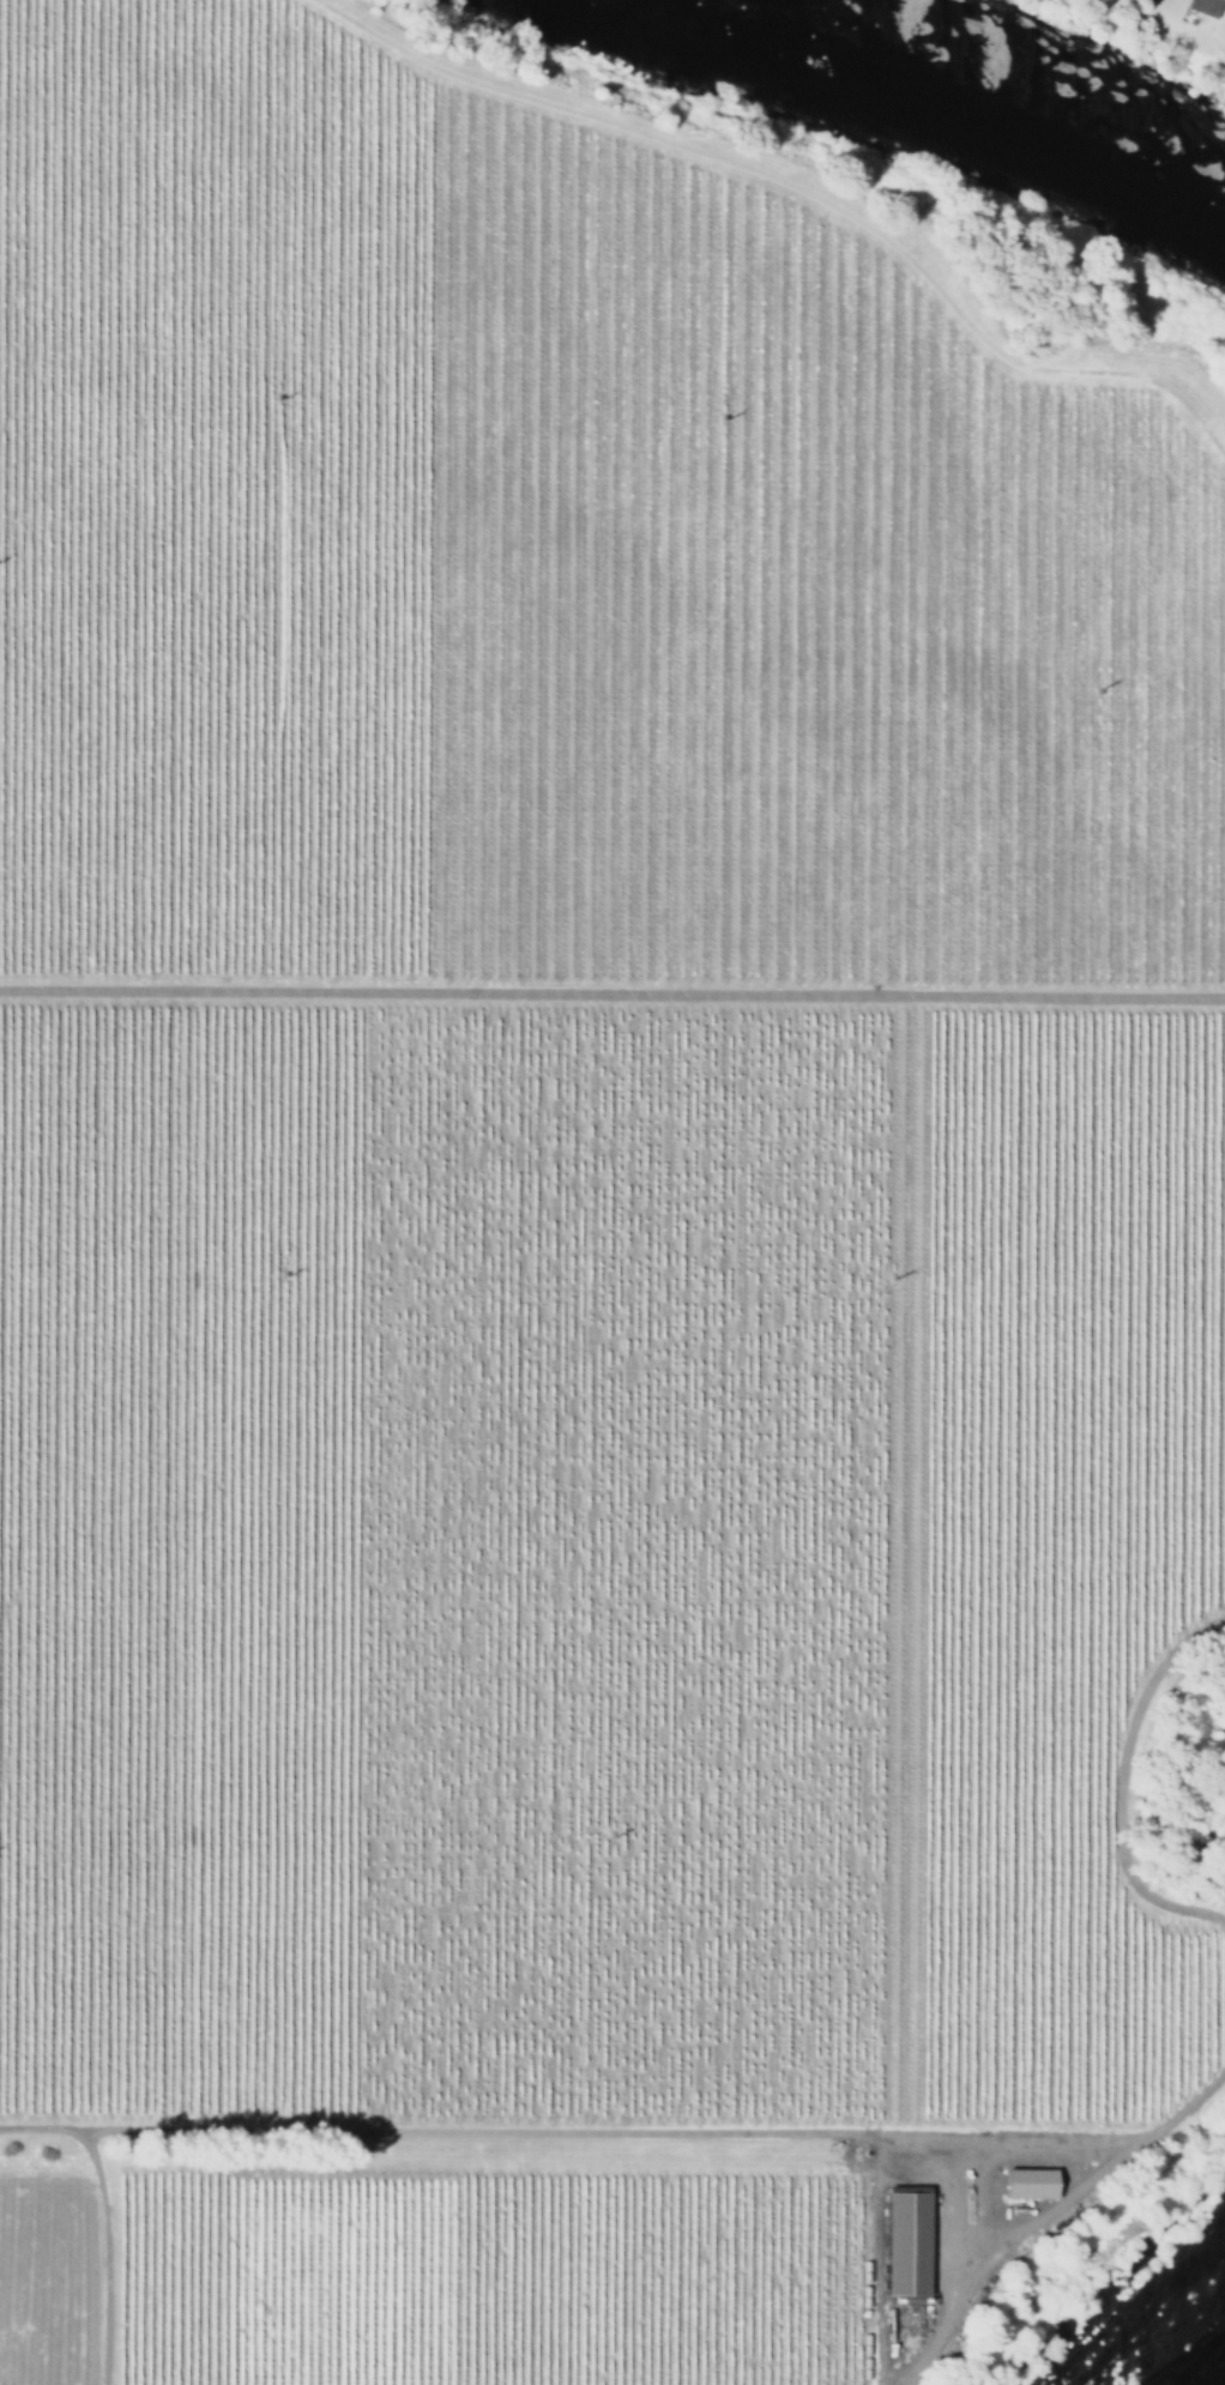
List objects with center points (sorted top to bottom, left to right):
building: (1201, 7)
river: (977, 98)
road: (797, 191)
road: (612, 995)
road: (1116, 1786)
road: (605, 2126)
building: (1026, 2182)
road: (1051, 2211)
road: (98, 2221)
building: (905, 2241)
river: (1214, 2375)

